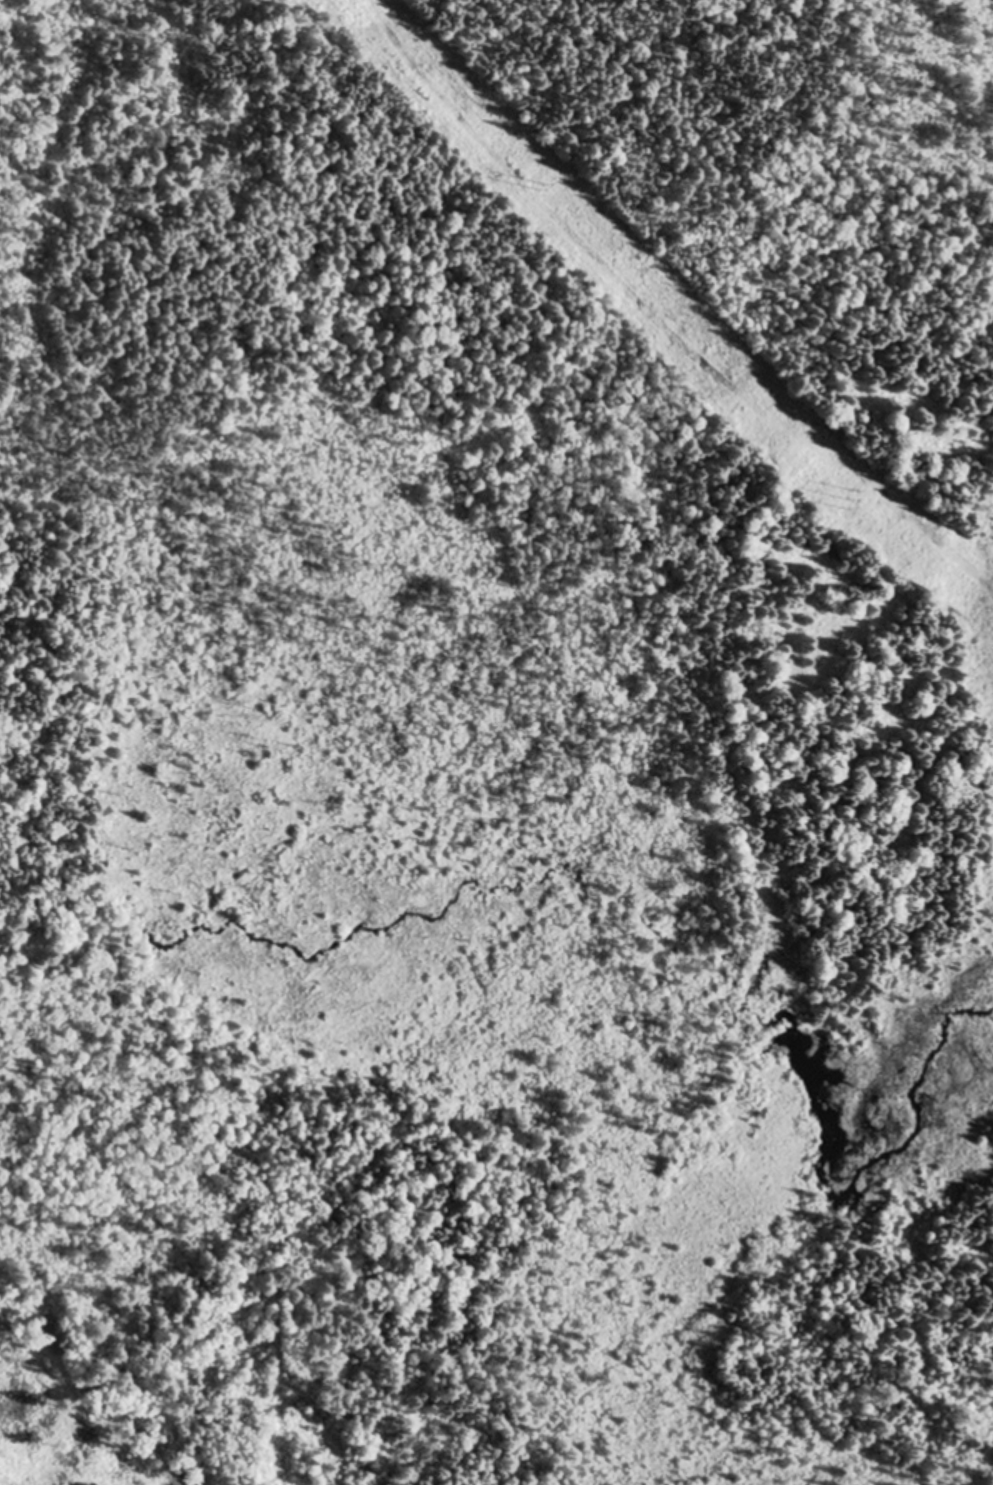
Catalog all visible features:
power tower: (544, 189)
power tower: (849, 500)

